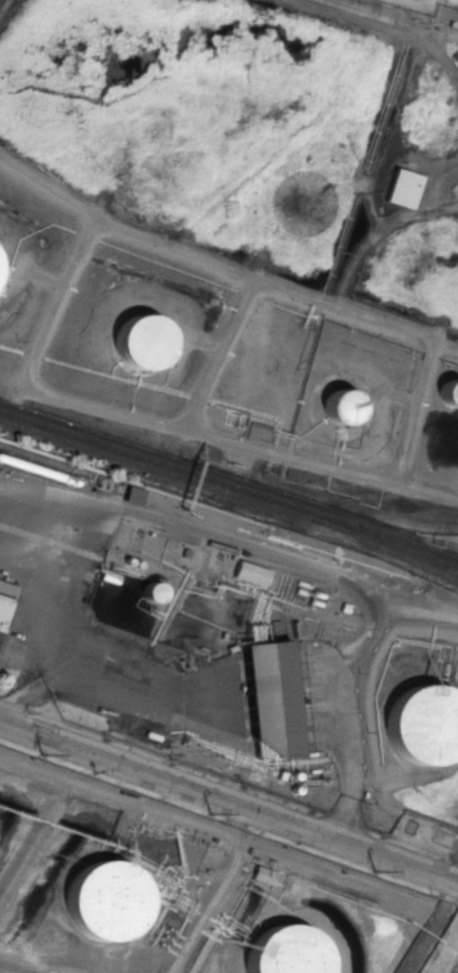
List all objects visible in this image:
building: (404, 188)
building: (1, 282)
building: (143, 341)
building: (449, 393)
building: (341, 407)
railway: (228, 483)
railway: (229, 492)
railway: (406, 535)
railway: (443, 543)
railway: (397, 555)
road: (290, 556)
building: (252, 573)
building: (155, 592)
building: (5, 599)
road: (68, 627)
building: (271, 699)
building: (425, 723)
storage tank: (425, 723)
power tower: (40, 752)
road: (229, 802)
power tower: (209, 812)
road: (344, 818)
power tower: (373, 868)
road: (457, 882)
building: (108, 900)
storage tank: (108, 900)
building: (286, 950)
storage tank: (286, 950)

